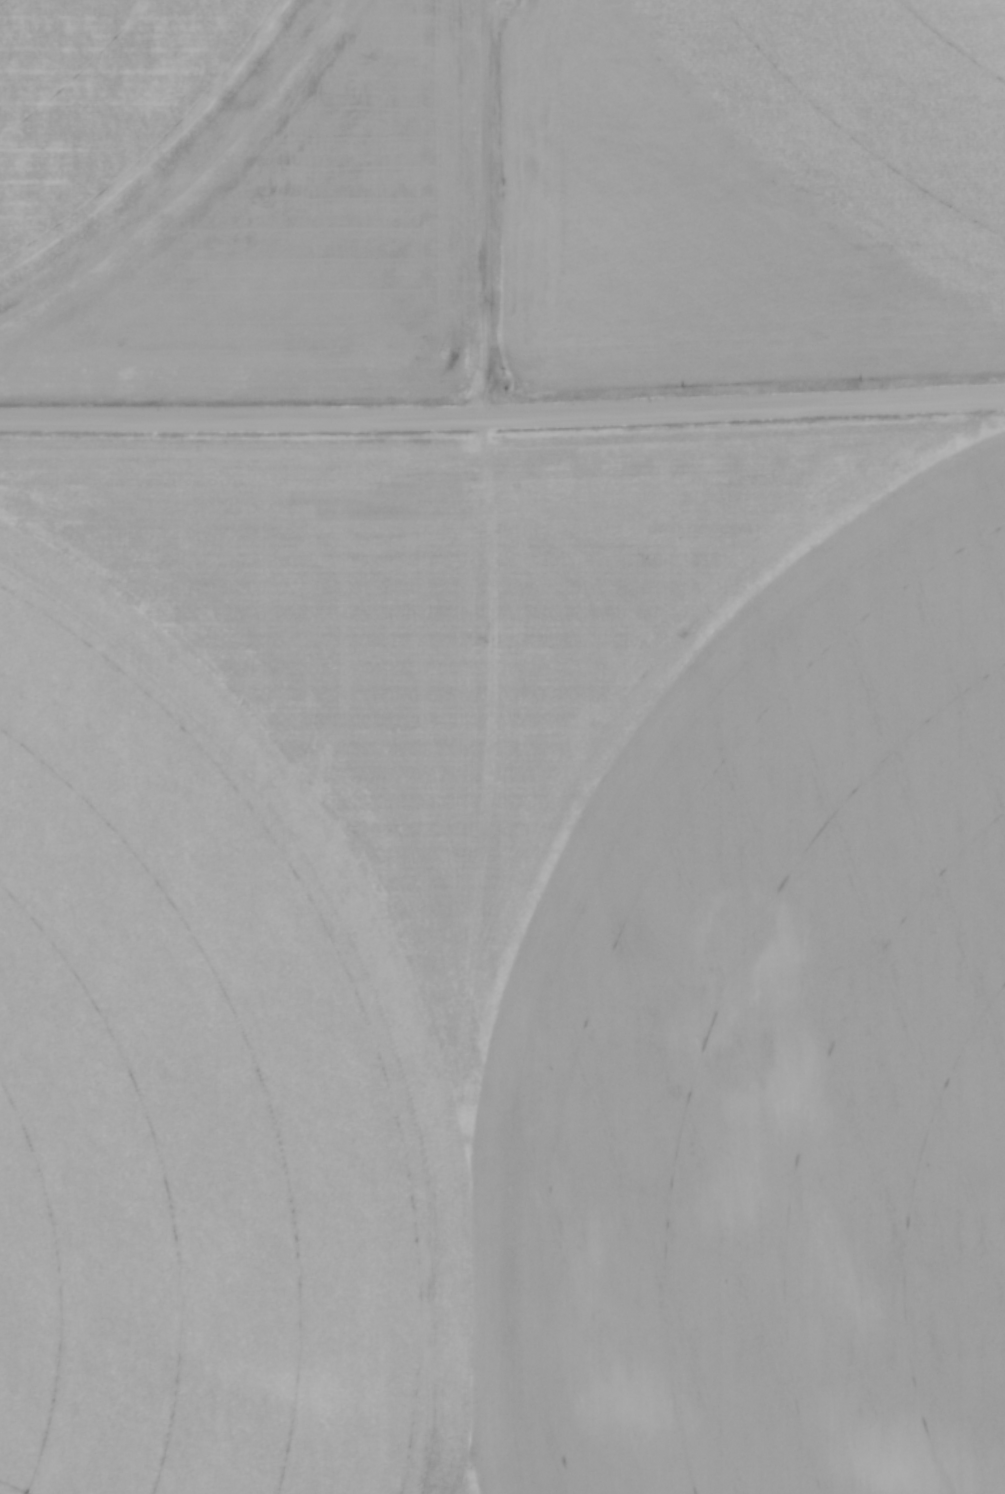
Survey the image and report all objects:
road: (502, 419)

